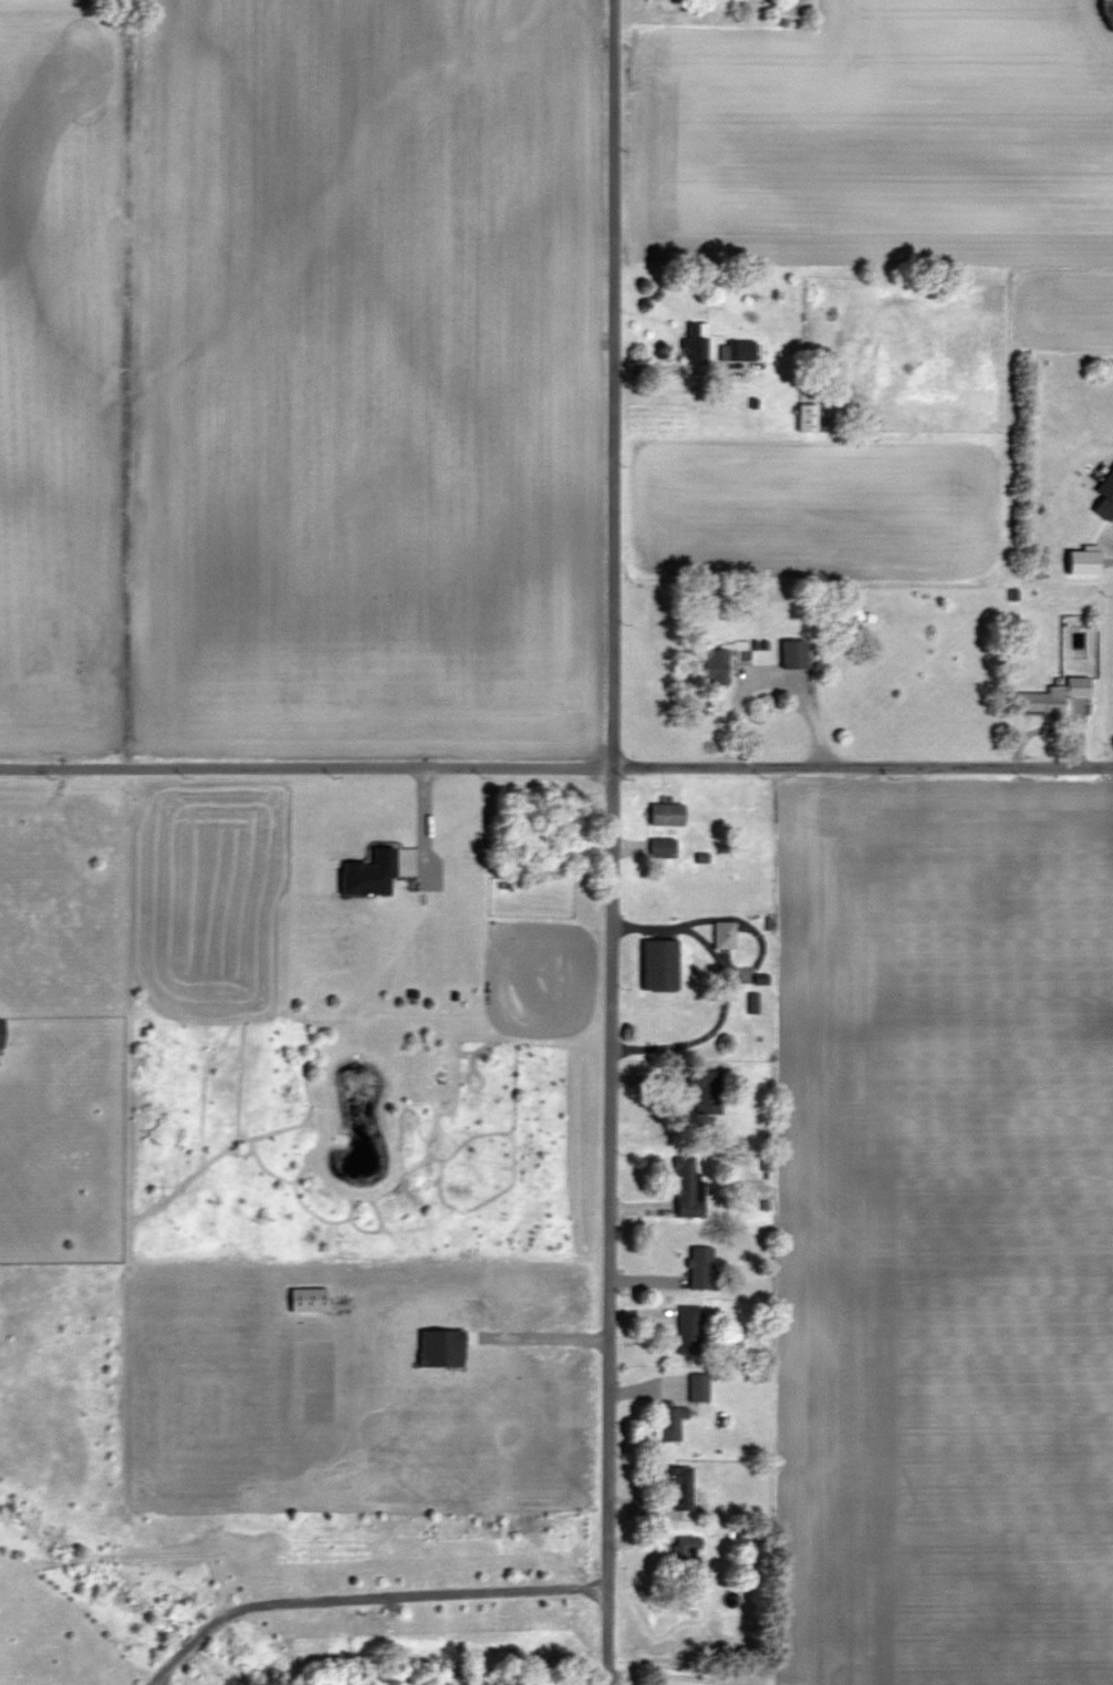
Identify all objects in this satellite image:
building: (696, 343)
building: (739, 349)
building: (807, 416)
building: (1105, 497)
building: (794, 654)
building: (716, 666)
building: (1054, 695)
road: (555, 768)
building: (666, 814)
road: (424, 825)
road: (613, 842)
building: (662, 847)
building: (370, 875)
road: (735, 918)
building: (725, 935)
building: (659, 965)
road: (724, 990)
building: (0, 1031)
building: (705, 1087)
building: (687, 1189)
building: (701, 1269)
building: (688, 1330)
building: (698, 1387)
building: (672, 1419)
building: (677, 1485)
building: (686, 1552)
road: (366, 1603)

